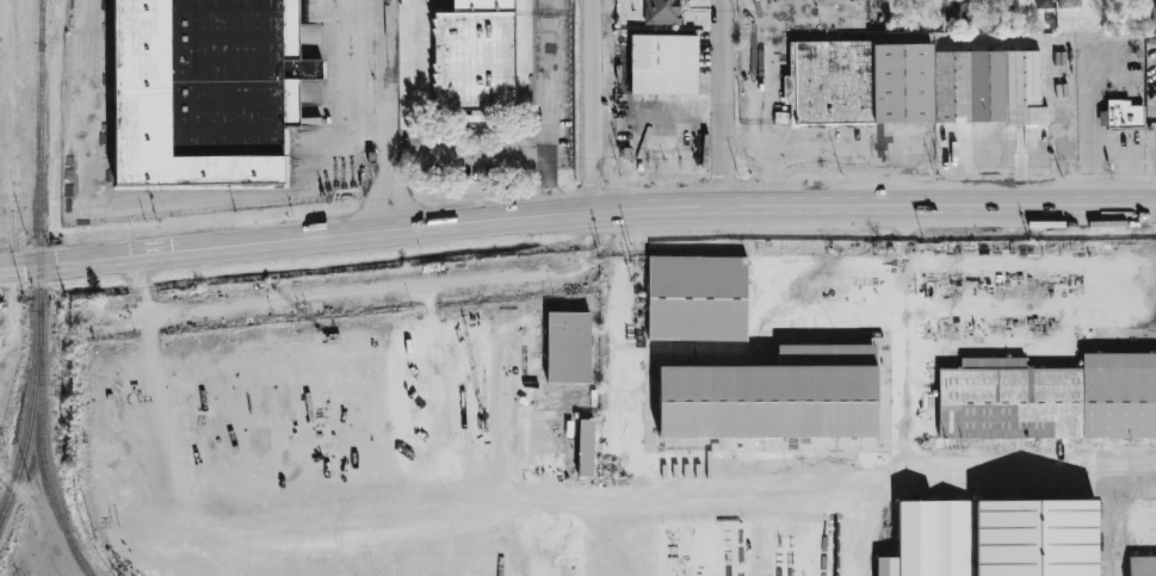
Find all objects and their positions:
building: (1068, 2)
building: (1043, 4)
building: (960, 7)
building: (661, 12)
building: (1152, 16)
railway: (41, 20)
building: (474, 57)
building: (662, 64)
building: (859, 83)
building: (988, 87)
building: (204, 89)
road: (721, 104)
road: (589, 106)
road: (388, 114)
building: (1124, 116)
road: (550, 117)
road: (1088, 130)
road: (478, 156)
road: (991, 179)
road: (198, 200)
road: (1027, 208)
road: (449, 223)
railway: (39, 261)
road: (361, 297)
building: (697, 298)
road: (14, 327)
road: (629, 333)
building: (567, 347)
building: (773, 396)
building: (1049, 398)
road: (908, 434)
building: (585, 447)
railway: (42, 448)
road: (894, 463)
road: (538, 498)
road: (35, 506)
road: (1112, 520)
building: (994, 539)
road: (644, 544)
road: (39, 564)
building: (1142, 565)

